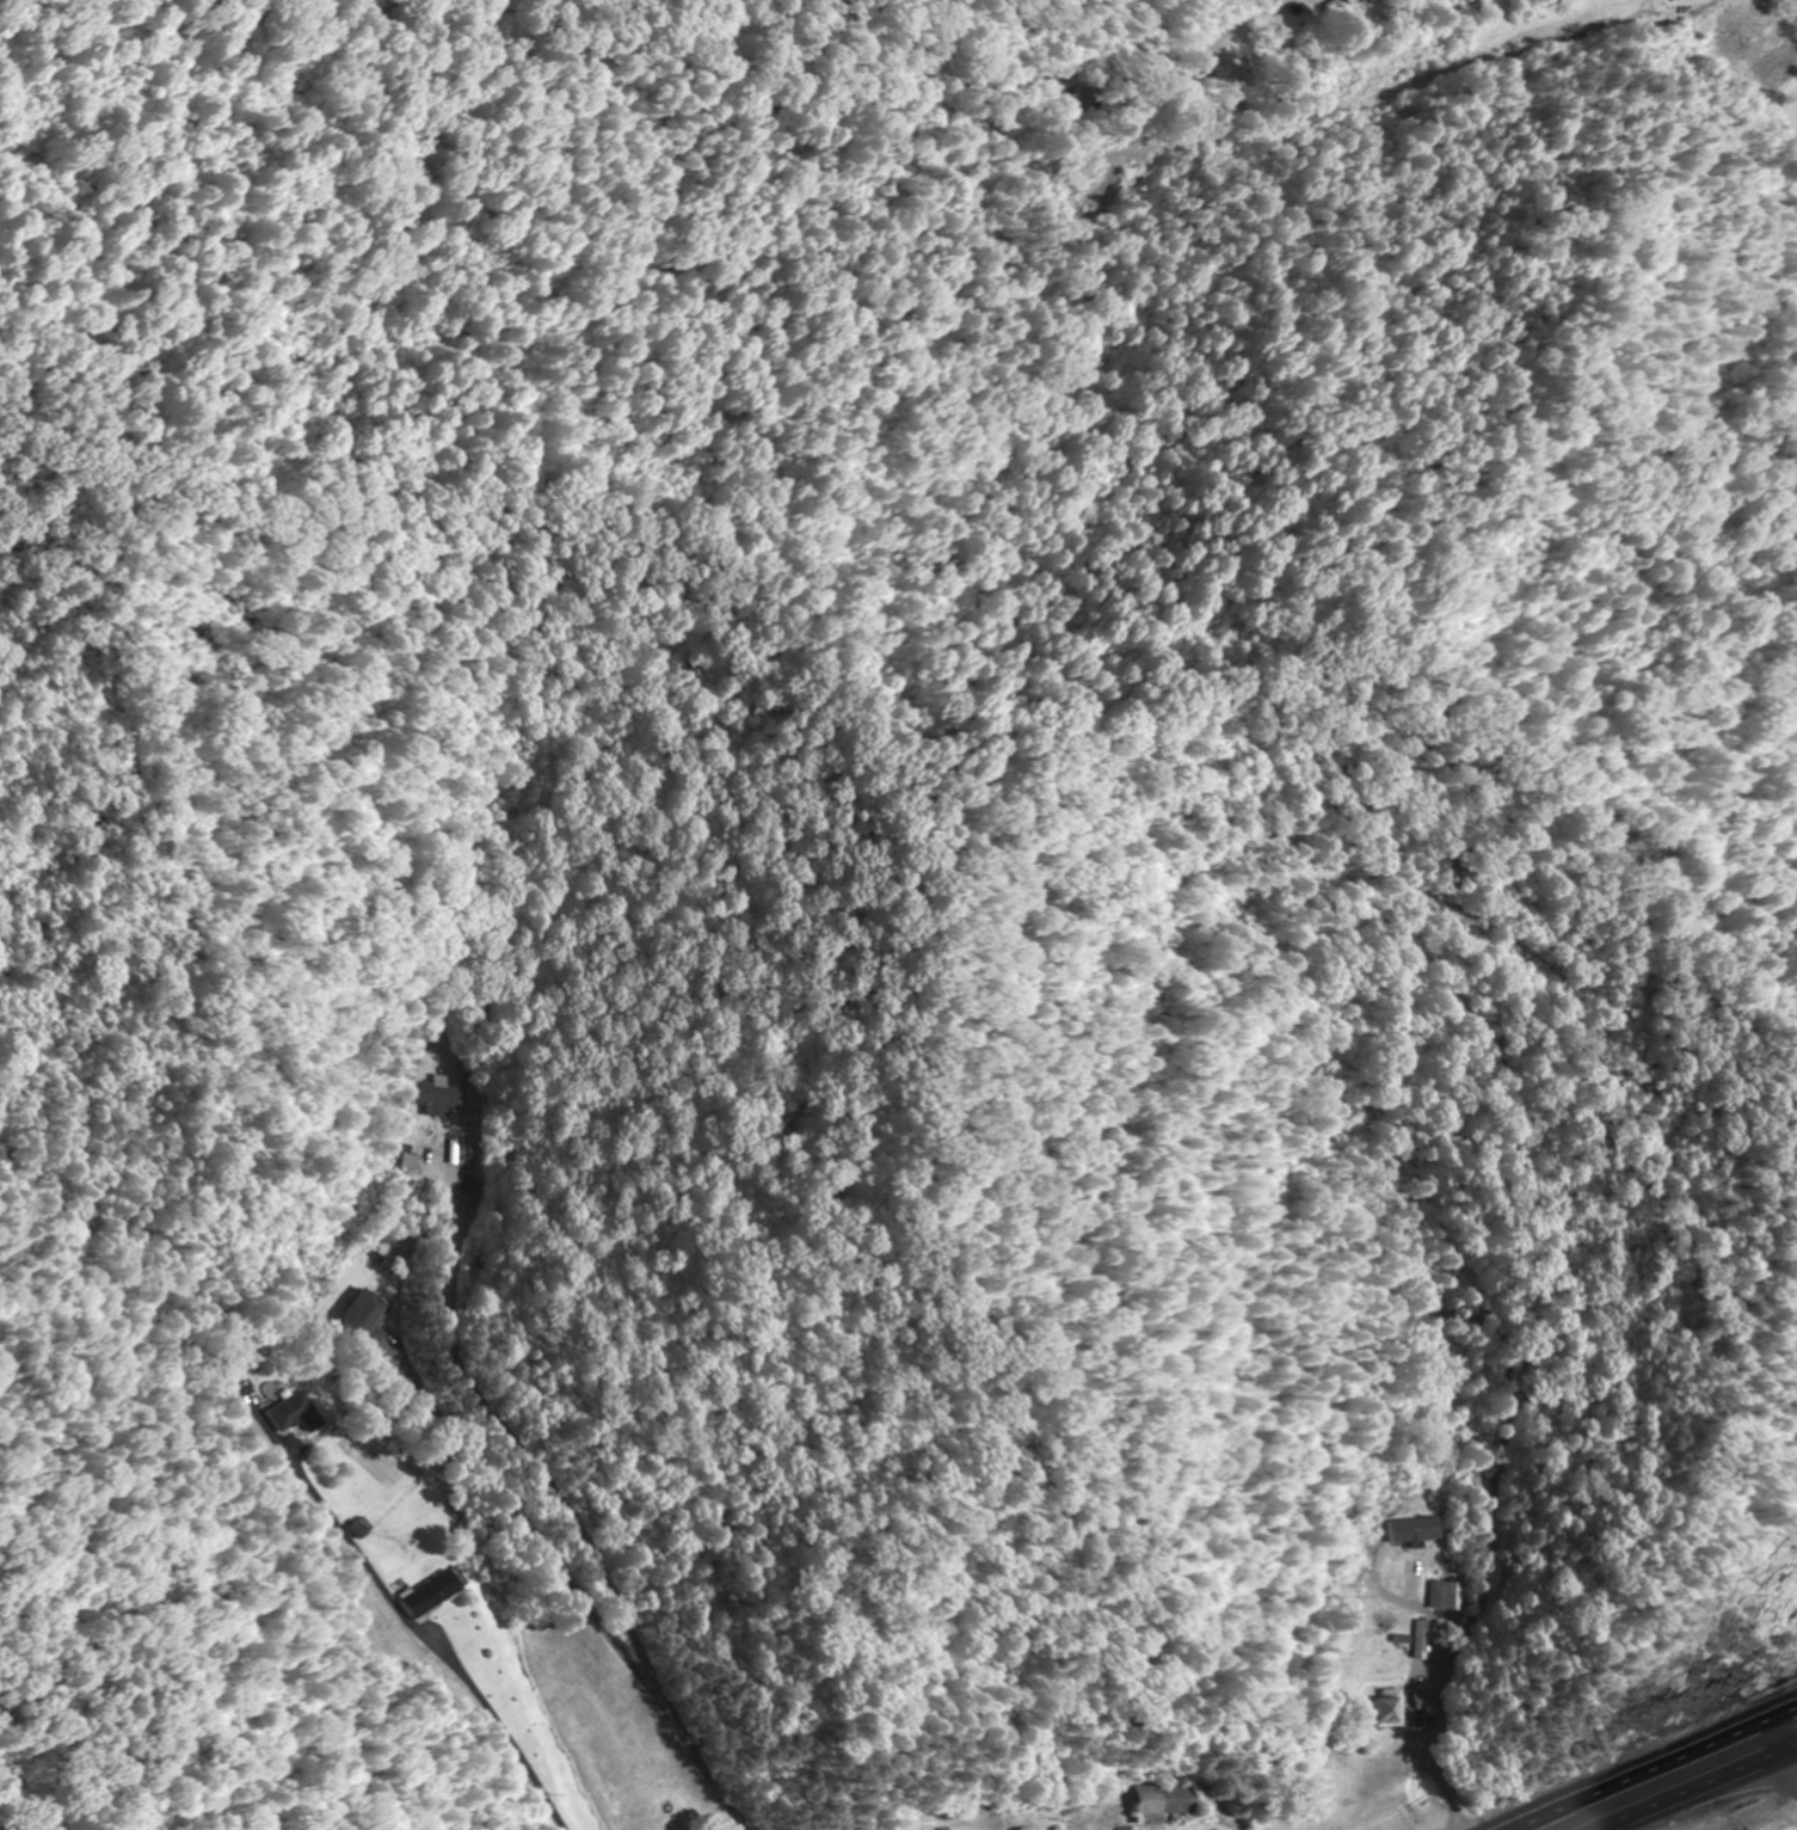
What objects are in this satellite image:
building: (1354, 2)
building: (442, 1100)
building: (369, 1319)
building: (297, 1413)
building: (1416, 1531)
building: (432, 1593)
building: (1450, 1596)
building: (1422, 1640)
building: (1427, 1700)
building: (1390, 1707)
road: (1773, 1733)
road: (1643, 1765)
road: (1789, 1768)
road: (1698, 1787)
building: (1162, 1803)
building: (1021, 1829)

